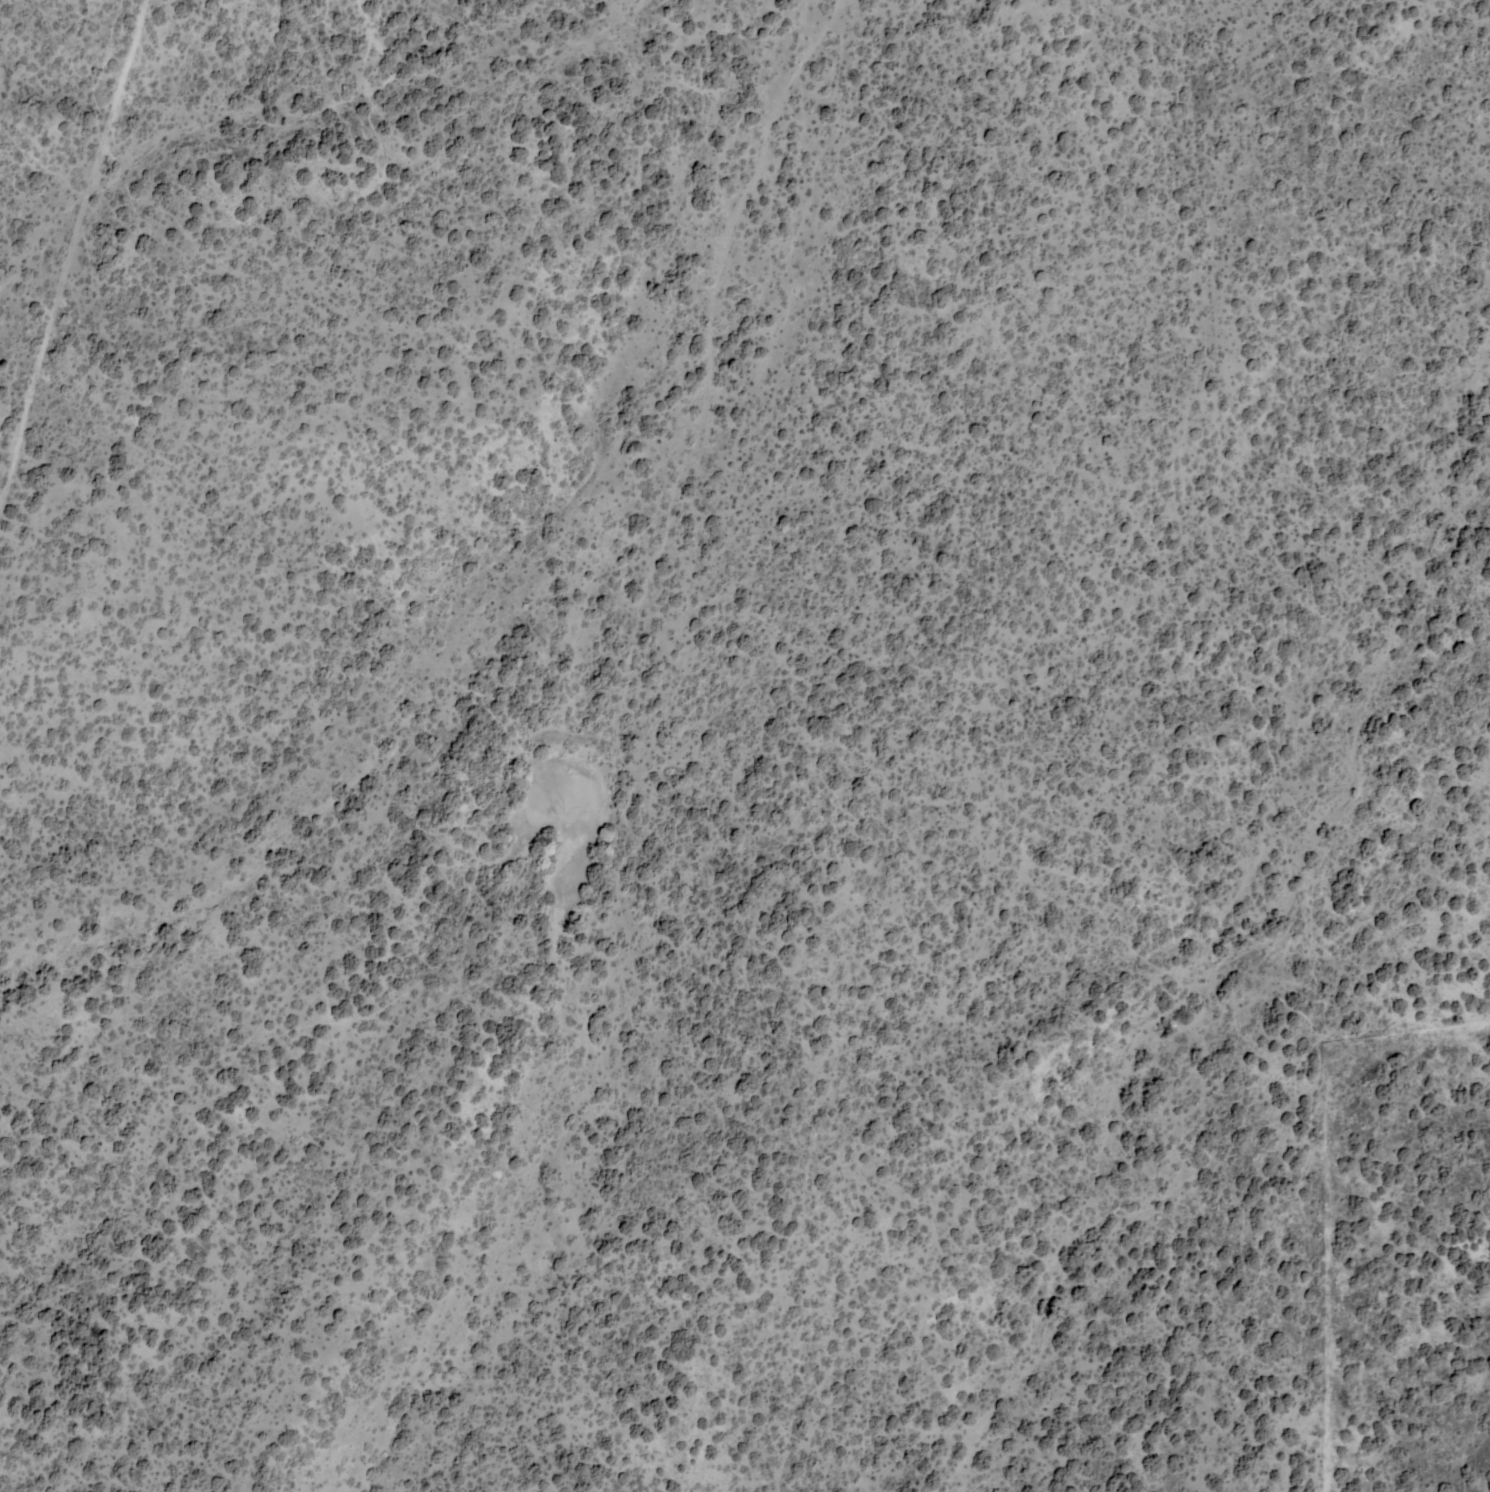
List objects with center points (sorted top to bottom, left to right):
road: (69, 248)
road: (705, 369)

